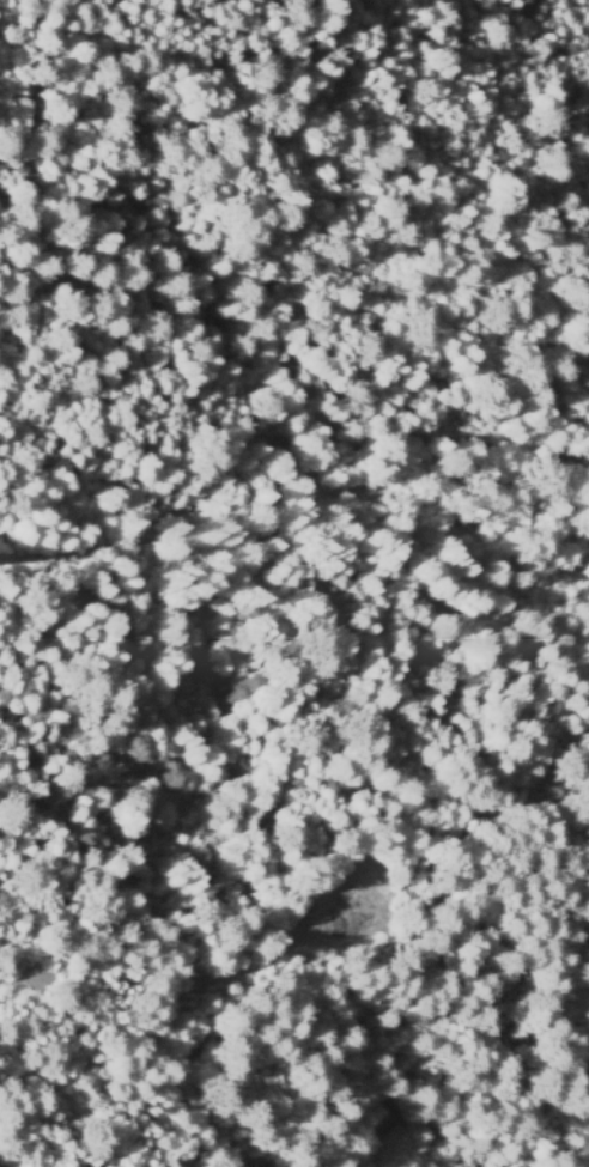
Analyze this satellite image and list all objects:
road: (78, 1094)
road: (425, 1118)

